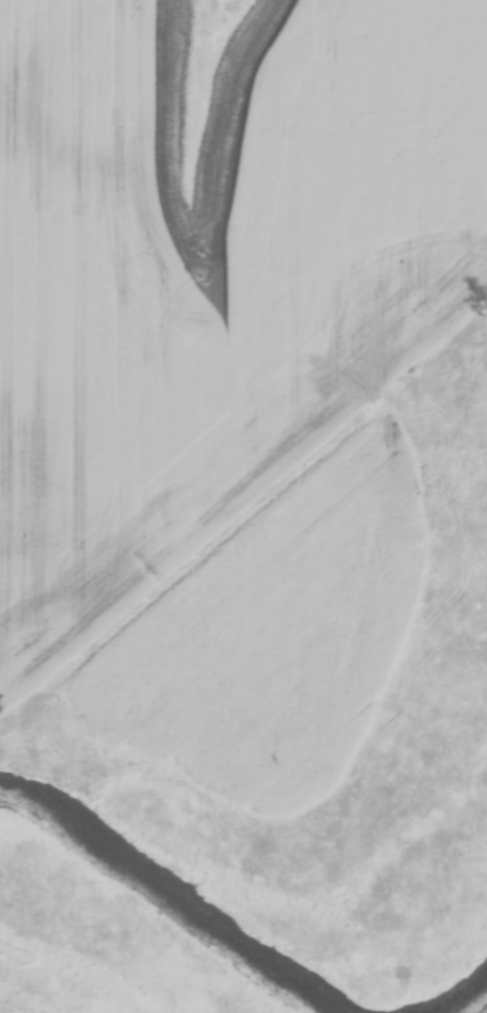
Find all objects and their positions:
river: (184, 894)
river: (466, 1002)

